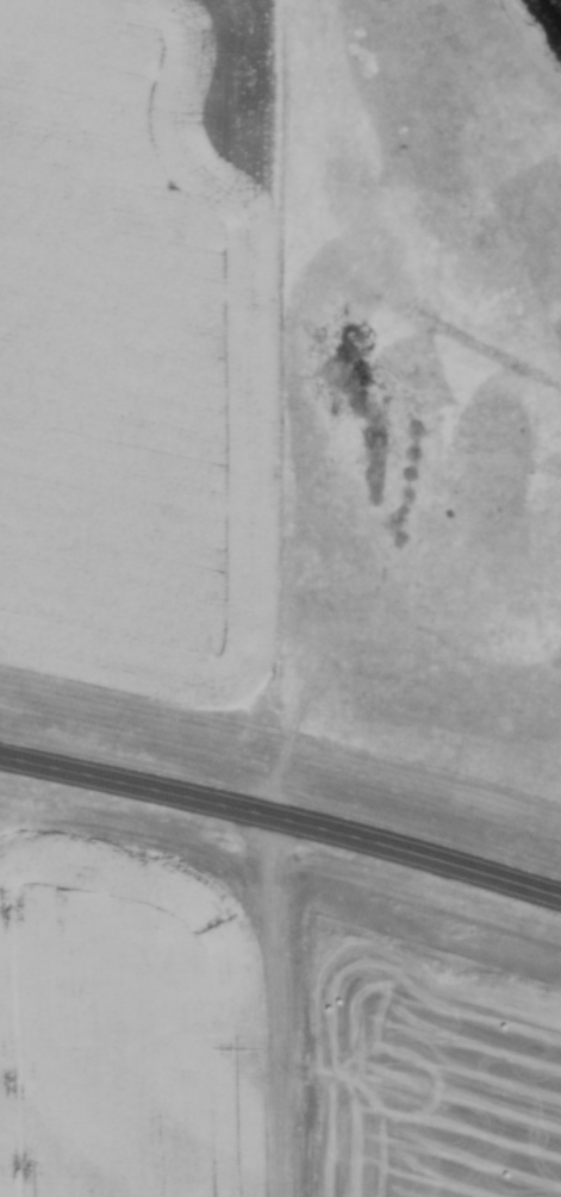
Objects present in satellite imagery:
road: (282, 822)
road: (275, 1008)

